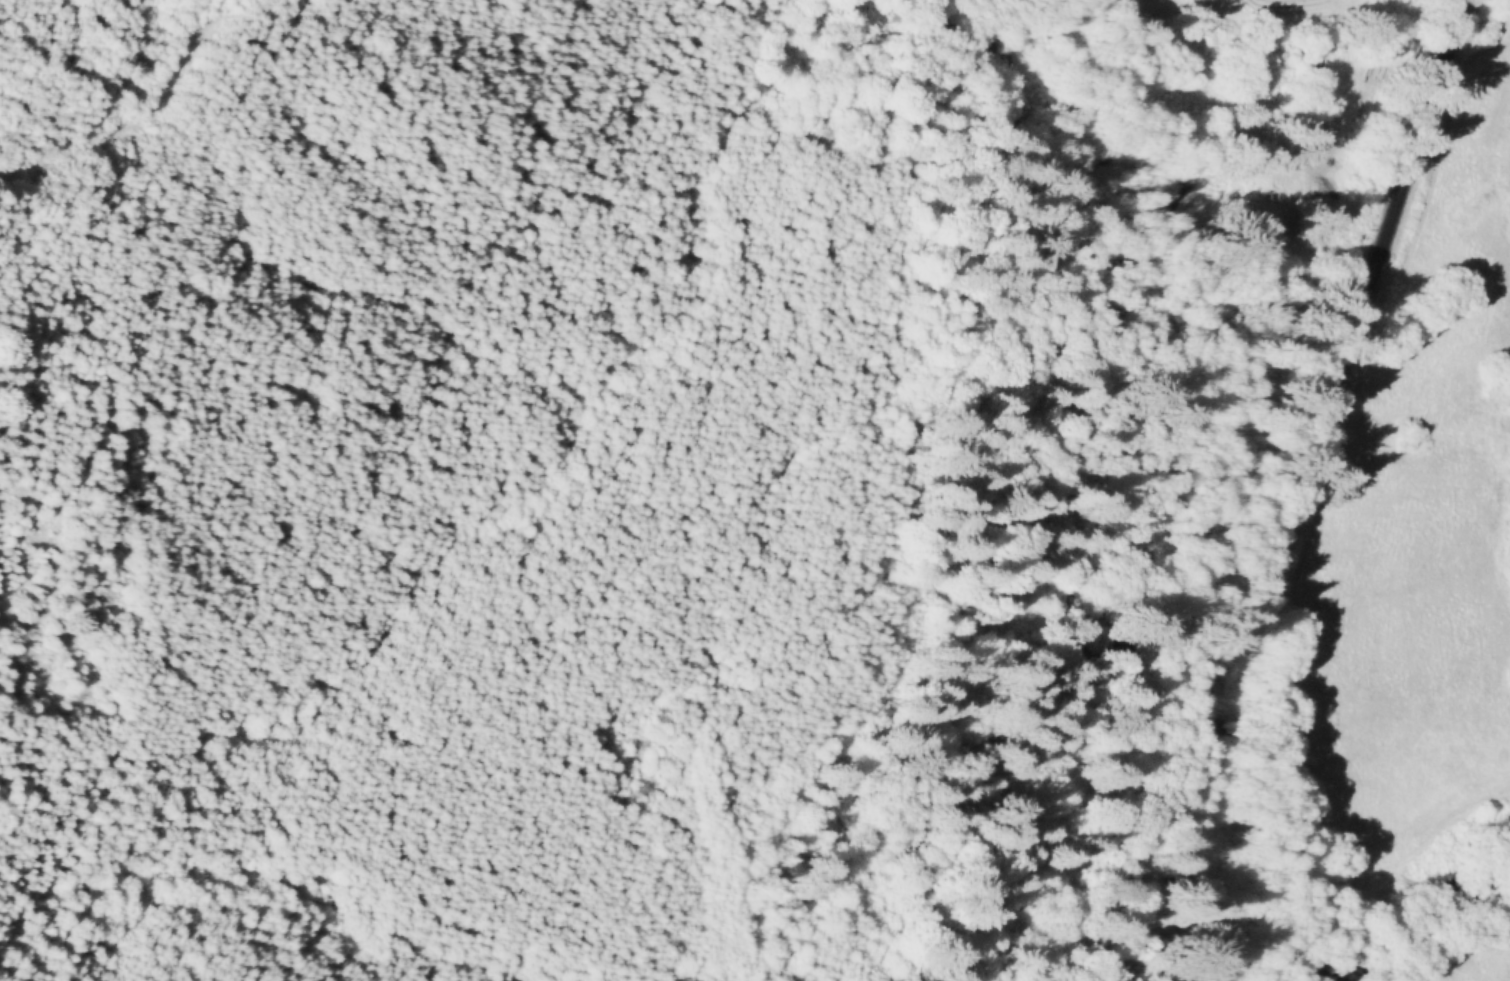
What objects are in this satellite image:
road: (1298, 484)

